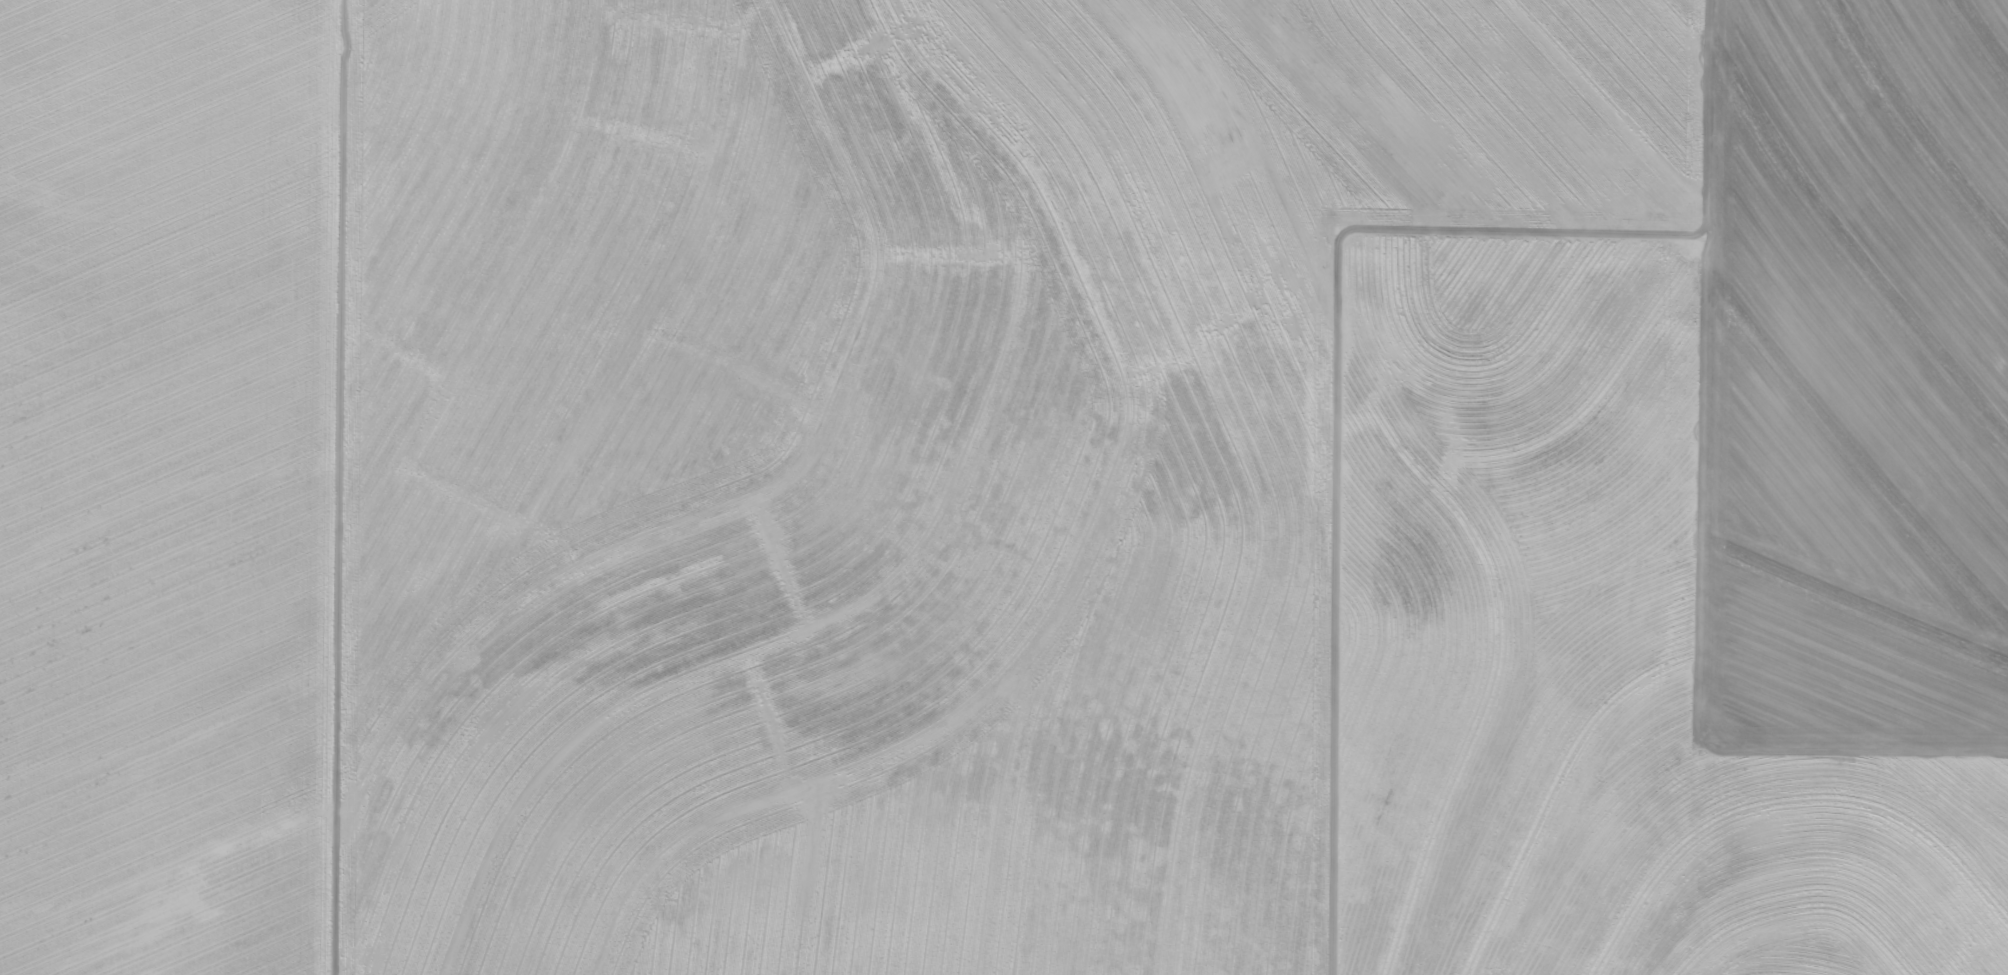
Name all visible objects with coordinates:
road: (1743, 875)

